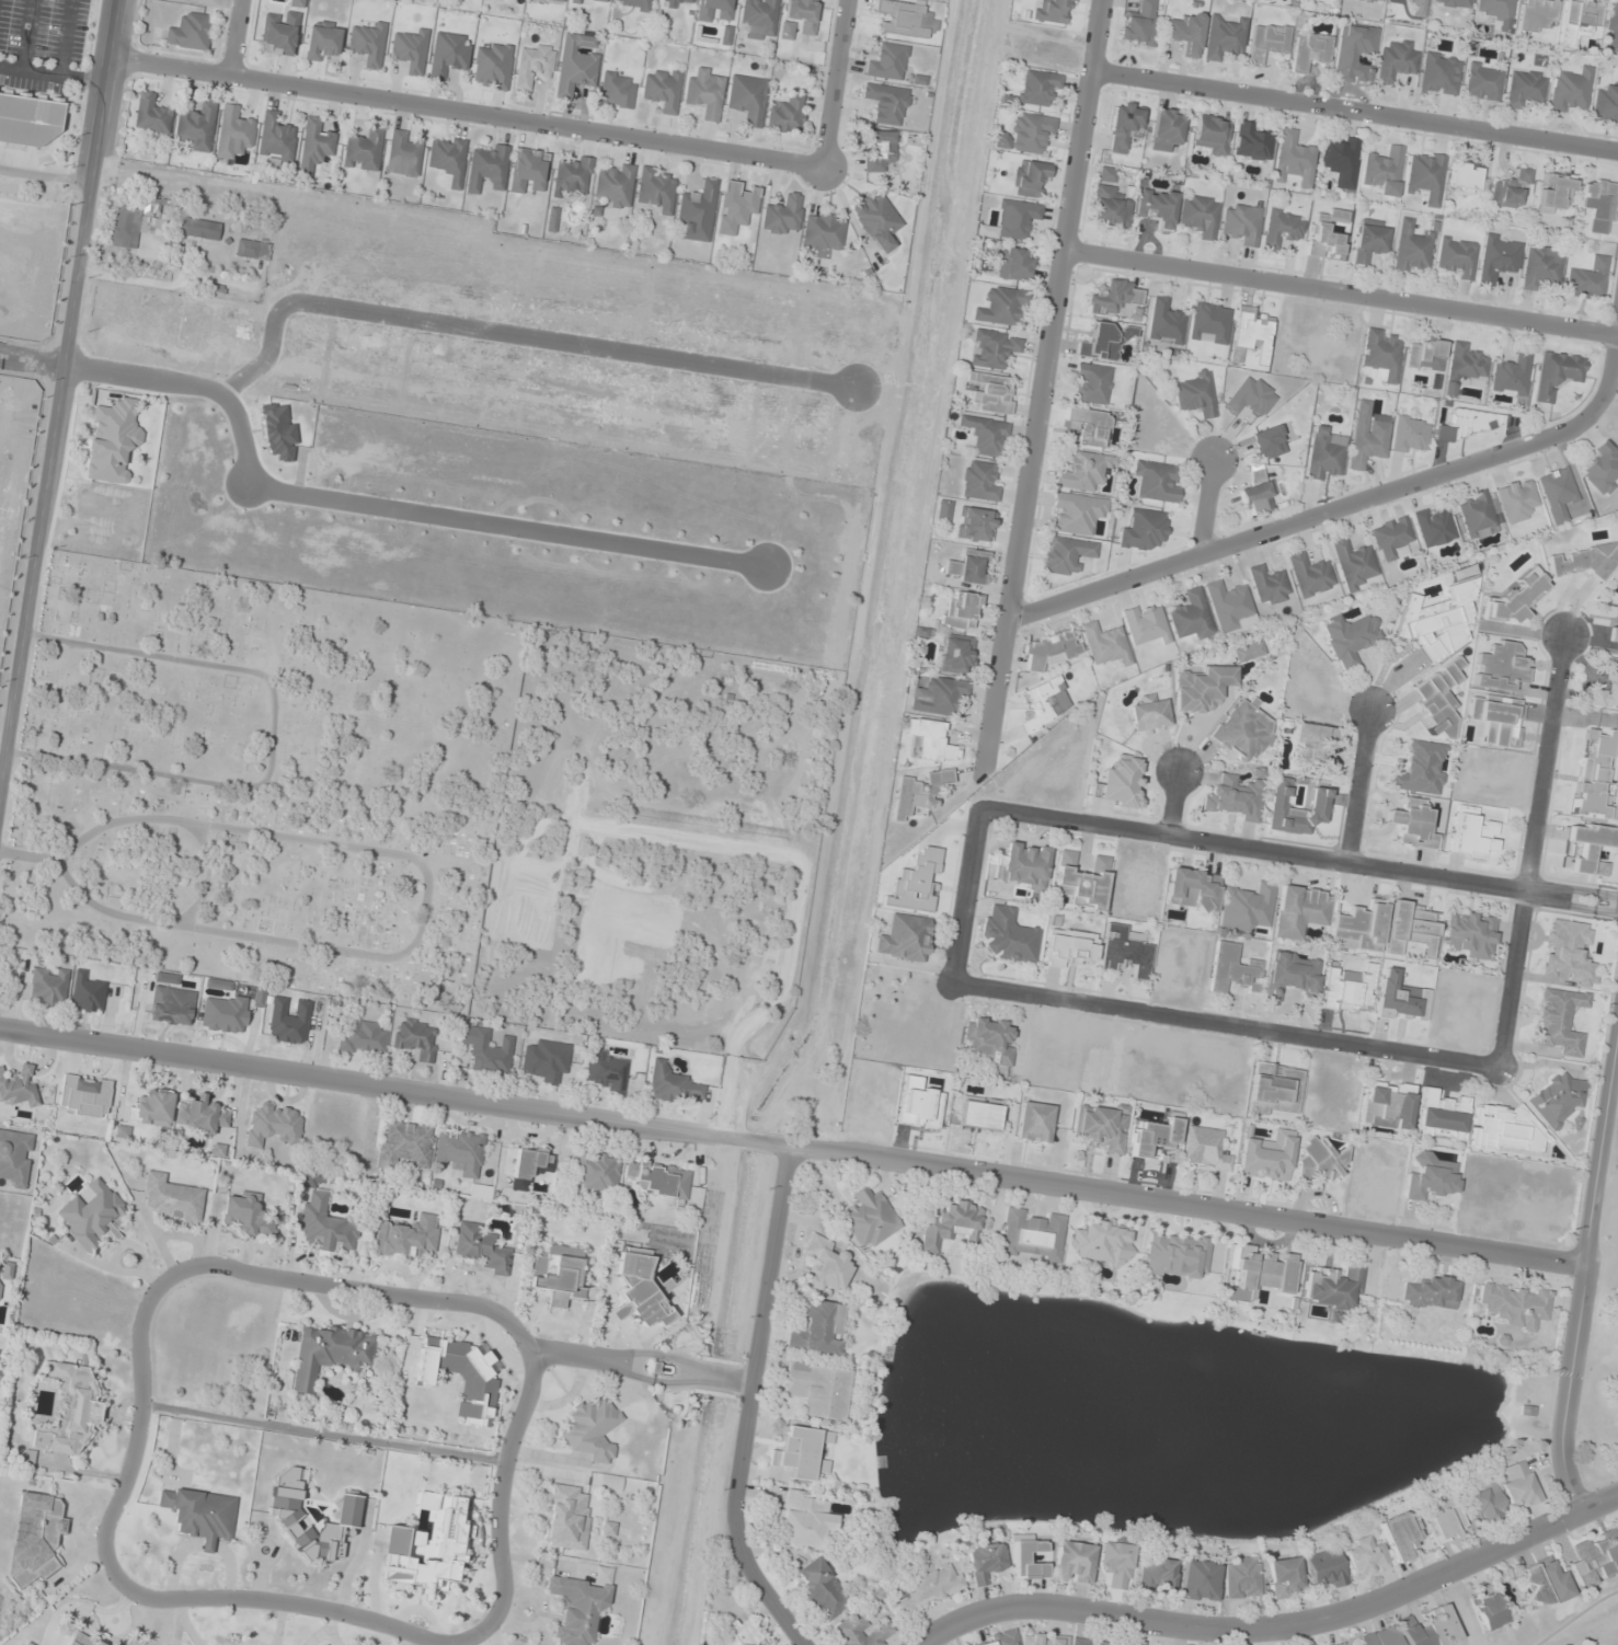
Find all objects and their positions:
building: (558, 0)
building: (601, 0)
building: (1377, 0)
building: (674, 2)
building: (636, 4)
building: (1418, 7)
building: (1494, 9)
building: (714, 10)
building: (1054, 11)
building: (1537, 14)
building: (800, 16)
building: (759, 18)
building: (905, 19)
building: (1579, 21)
building: (1140, 24)
building: (1613, 26)
building: (190, 32)
building: (1185, 33)
building: (279, 34)
building: (725, 34)
building: (1225, 35)
road: (234, 37)
building: (322, 41)
building: (1267, 41)
building: (368, 44)
building: (410, 50)
building: (1309, 50)
building: (1354, 53)
building: (448, 54)
building: (1397, 60)
building: (888, 62)
building: (576, 65)
building: (493, 66)
building: (533, 66)
building: (1439, 74)
road: (835, 82)
building: (1483, 82)
building: (1038, 88)
building: (664, 89)
building: (1525, 89)
building: (617, 90)
building: (1571, 90)
building: (705, 93)
building: (747, 97)
building: (887, 103)
building: (1605, 104)
road: (1354, 108)
road: (464, 111)
building: (787, 114)
building: (151, 115)
building: (30, 118)
building: (196, 126)
building: (1125, 126)
building: (1168, 128)
building: (233, 133)
building: (1026, 134)
building: (1213, 135)
building: (275, 138)
building: (317, 140)
building: (1252, 142)
building: (364, 149)
building: (880, 149)
building: (403, 154)
building: (448, 159)
building: (1294, 159)
building: (1341, 160)
building: (487, 169)
building: (1384, 170)
building: (528, 171)
building: (573, 175)
road: (45, 176)
building: (1425, 176)
building: (1465, 177)
building: (1030, 180)
building: (616, 186)
building: (656, 189)
building: (1511, 191)
building: (1557, 192)
building: (1599, 204)
building: (736, 206)
building: (1111, 207)
building: (1158, 207)
building: (698, 211)
building: (782, 216)
building: (1200, 216)
building: (876, 219)
building: (1018, 219)
building: (136, 222)
building: (1242, 223)
building: (1283, 228)
building: (198, 229)
building: (823, 232)
building: (1326, 234)
building: (1369, 243)
building: (1412, 249)
building: (253, 250)
building: (1457, 256)
building: (1497, 257)
building: (1014, 264)
building: (1540, 267)
building: (1588, 279)
road: (1340, 291)
building: (1112, 297)
building: (1001, 306)
building: (1166, 322)
building: (1209, 323)
road: (513, 330)
building: (1252, 333)
building: (1105, 342)
building: (994, 349)
building: (1381, 355)
building: (1426, 355)
building: (1465, 368)
building: (1557, 375)
building: (1512, 376)
building: (1092, 383)
road: (1042, 387)
road: (59, 389)
building: (991, 393)
building: (1196, 394)
building: (1252, 396)
building: (288, 418)
building: (1087, 426)
building: (987, 435)
building: (1367, 437)
building: (112, 439)
building: (1270, 442)
building: (1326, 455)
building: (1604, 467)
building: (1085, 471)
building: (979, 481)
building: (1157, 481)
building: (1559, 493)
building: (1258, 494)
building: (1518, 501)
road: (381, 503)
road: (1341, 505)
road: (1205, 508)
building: (944, 509)
building: (1077, 513)
building: (1478, 515)
building: (975, 525)
building: (1435, 527)
building: (1146, 530)
building: (1392, 538)
building: (1067, 554)
building: (1586, 561)
building: (1354, 563)
building: (969, 566)
building: (1310, 574)
building: (1270, 584)
building: (1517, 598)
building: (1231, 606)
building: (961, 610)
building: (1616, 612)
building: (1192, 616)
building: (1437, 621)
building: (1148, 624)
building: (1351, 637)
building: (1106, 644)
building: (1049, 649)
building: (1249, 652)
building: (956, 654)
building: (1501, 667)
building: (1607, 687)
building: (1203, 688)
building: (938, 695)
building: (1438, 698)
building: (1043, 703)
building: (1150, 713)
building: (1496, 718)
building: (1243, 731)
road: (272, 738)
building: (930, 741)
building: (1313, 743)
building: (1421, 769)
park: (260, 781)
building: (1121, 782)
road: (1357, 784)
building: (919, 793)
building: (1236, 797)
building: (1281, 798)
road: (1175, 802)
building: (1413, 824)
building: (1472, 837)
building: (1591, 849)
road: (1533, 850)
road: (1298, 854)
road: (30, 855)
building: (1023, 865)
road: (207, 876)
building: (1082, 881)
building: (1192, 888)
road: (964, 893)
road: (425, 907)
building: (1247, 907)
building: (1300, 911)
building: (1362, 927)
building: (1471, 934)
building: (1008, 936)
building: (905, 939)
building: (1069, 947)
building: (1126, 951)
building: (1569, 953)
building: (1233, 969)
building: (1292, 975)
building: (48, 986)
building: (1349, 989)
building: (87, 993)
building: (171, 1001)
building: (225, 1013)
building: (288, 1021)
building: (1560, 1021)
road: (1225, 1024)
building: (364, 1037)
building: (990, 1038)
building: (415, 1039)
building: (491, 1055)
building: (546, 1060)
building: (607, 1071)
building: (673, 1084)
building: (19, 1085)
building: (1275, 1088)
building: (1557, 1098)
building: (1387, 1105)
building: (151, 1108)
building: (979, 1114)
building: (200, 1115)
building: (1441, 1115)
building: (1035, 1121)
building: (273, 1125)
building: (1103, 1127)
building: (1507, 1129)
building: (1156, 1137)
building: (404, 1143)
road: (792, 1143)
building: (1205, 1149)
building: (217, 1150)
building: (461, 1151)
building: (1267, 1155)
building: (15, 1157)
building: (1322, 1161)
building: (529, 1167)
building: (595, 1172)
building: (1431, 1177)
building: (661, 1180)
building: (172, 1199)
building: (92, 1215)
building: (249, 1216)
building: (869, 1218)
building: (324, 1219)
building: (950, 1224)
building: (1033, 1235)
building: (408, 1236)
building: (1103, 1243)
building: (480, 1249)
building: (1177, 1255)
building: (825, 1265)
building: (1258, 1272)
building: (554, 1277)
road: (1582, 1278)
building: (0, 1285)
building: (1333, 1287)
building: (639, 1289)
building: (1431, 1292)
building: (1516, 1305)
building: (817, 1330)
building: (330, 1354)
road: (640, 1364)
building: (819, 1390)
road: (748, 1402)
building: (70, 1410)
building: (592, 1429)
building: (802, 1453)
road: (123, 1482)
building: (1518, 1485)
building: (1485, 1502)
building: (285, 1511)
building: (199, 1515)
building: (565, 1517)
building: (802, 1519)
building: (1444, 1522)
building: (608, 1529)
building: (1400, 1534)
building: (37, 1537)
building: (427, 1550)
building: (1366, 1557)
building: (1595, 1558)
building: (1030, 1560)
building: (986, 1561)
building: (1072, 1562)
building: (1117, 1564)
building: (1327, 1568)
building: (1157, 1575)
building: (1241, 1577)
building: (1284, 1577)
building: (1198, 1580)
building: (1545, 1581)
building: (821, 1588)
building: (931, 1588)
building: (580, 1606)
building: (1488, 1608)
road: (1277, 1629)
building: (1416, 1631)
building: (863, 1632)
building: (739, 1633)
building: (77, 1636)
building: (1015, 1638)
building: (1057, 1640)
building: (1082, 1641)
building: (131, 1642)
building: (1133, 1642)
building: (26, 1643)
building: (1339, 1644)

